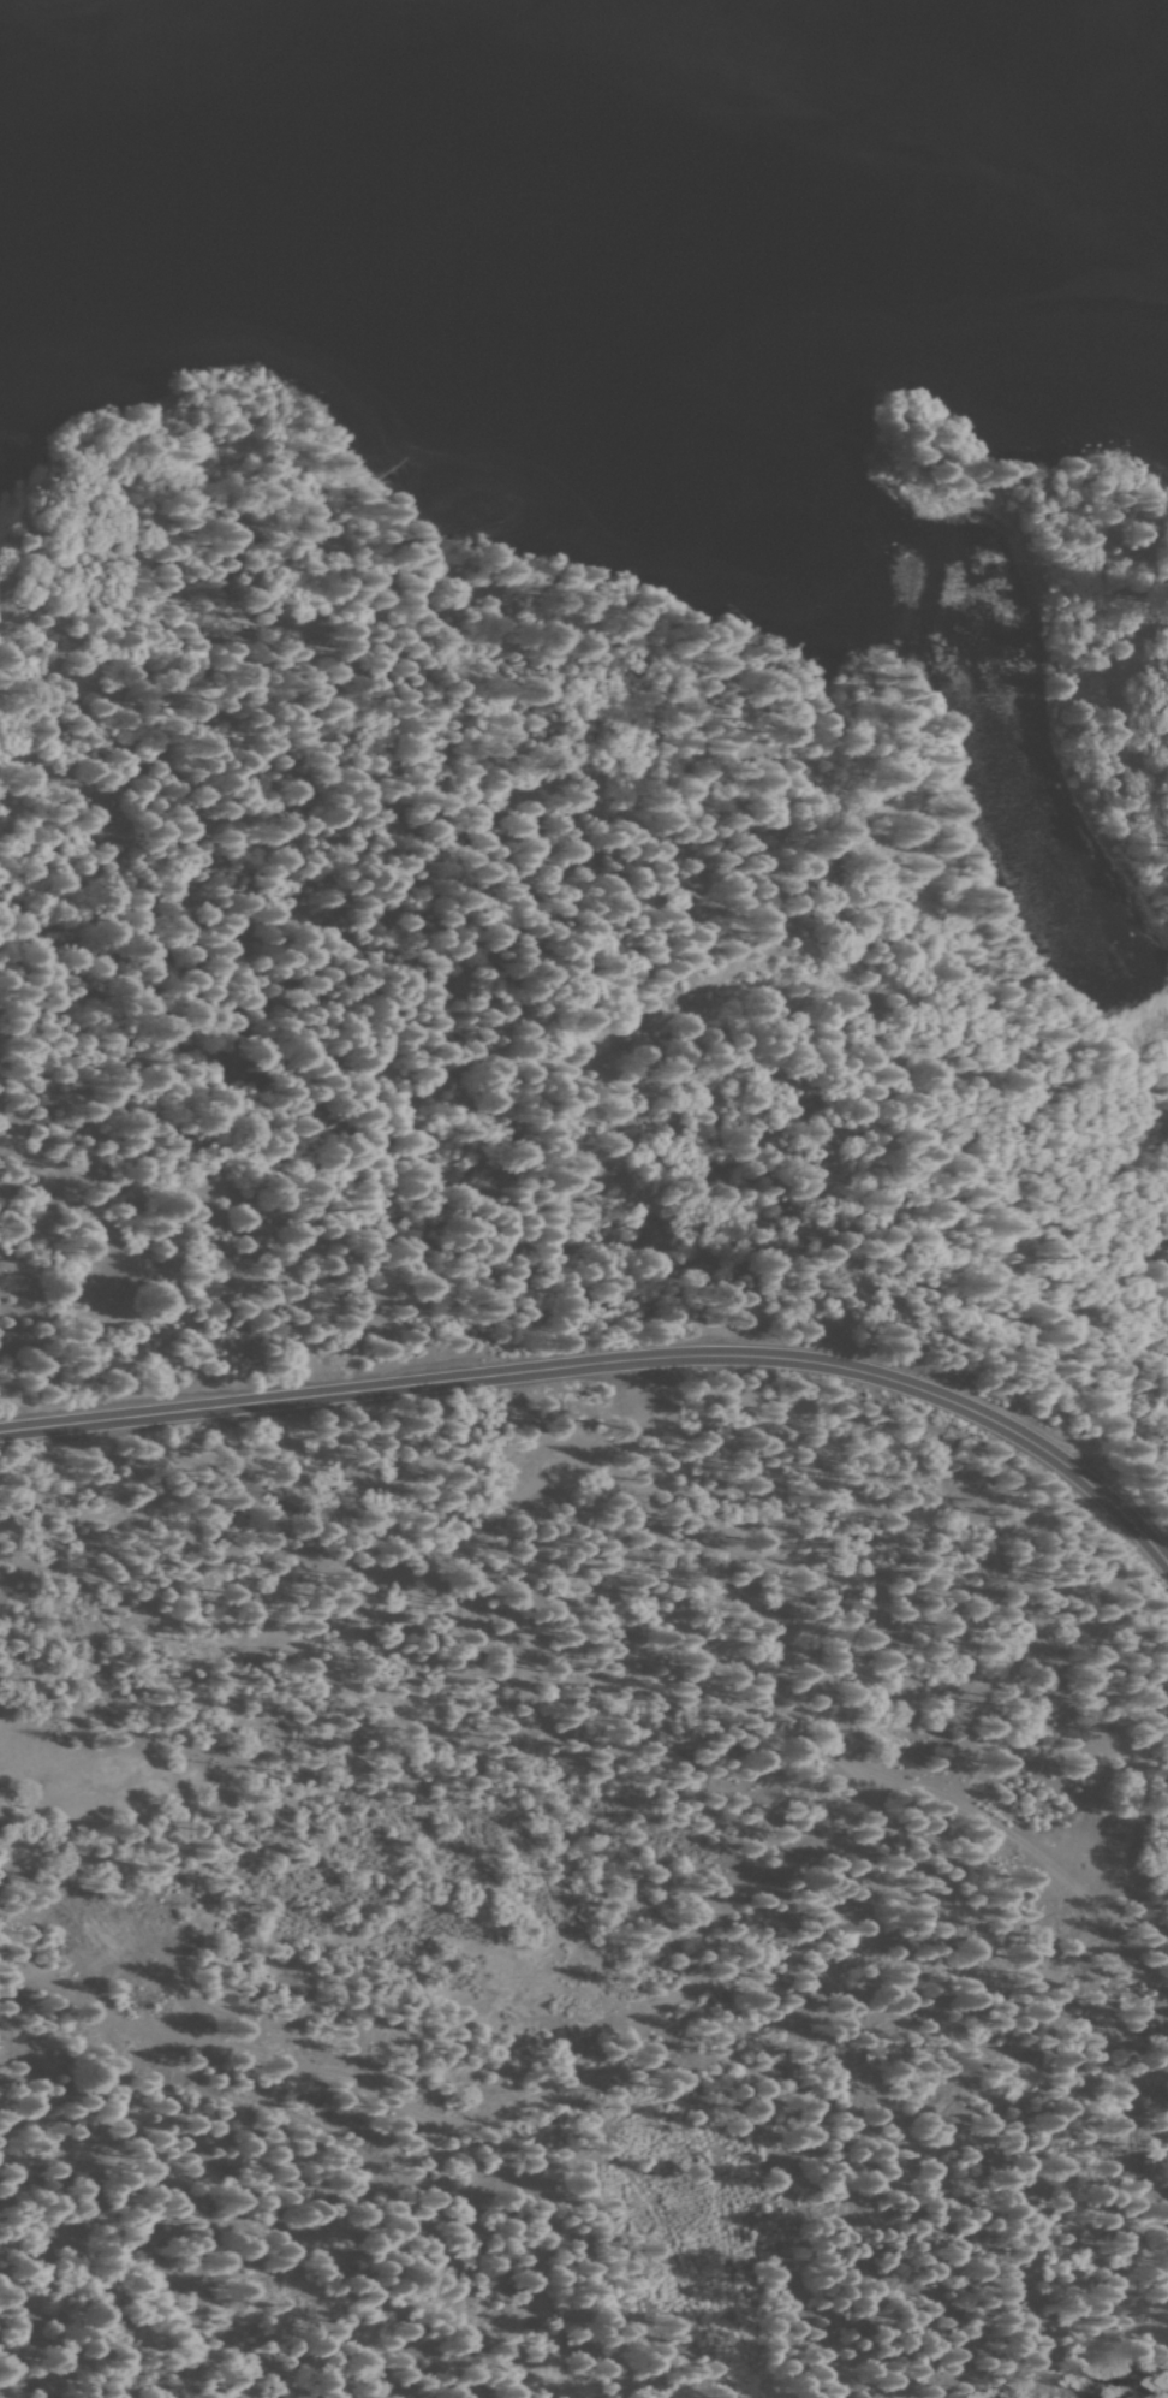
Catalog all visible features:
river: (562, 155)
road: (657, 1364)
road: (41, 1407)
road: (41, 1426)
road: (638, 1654)

